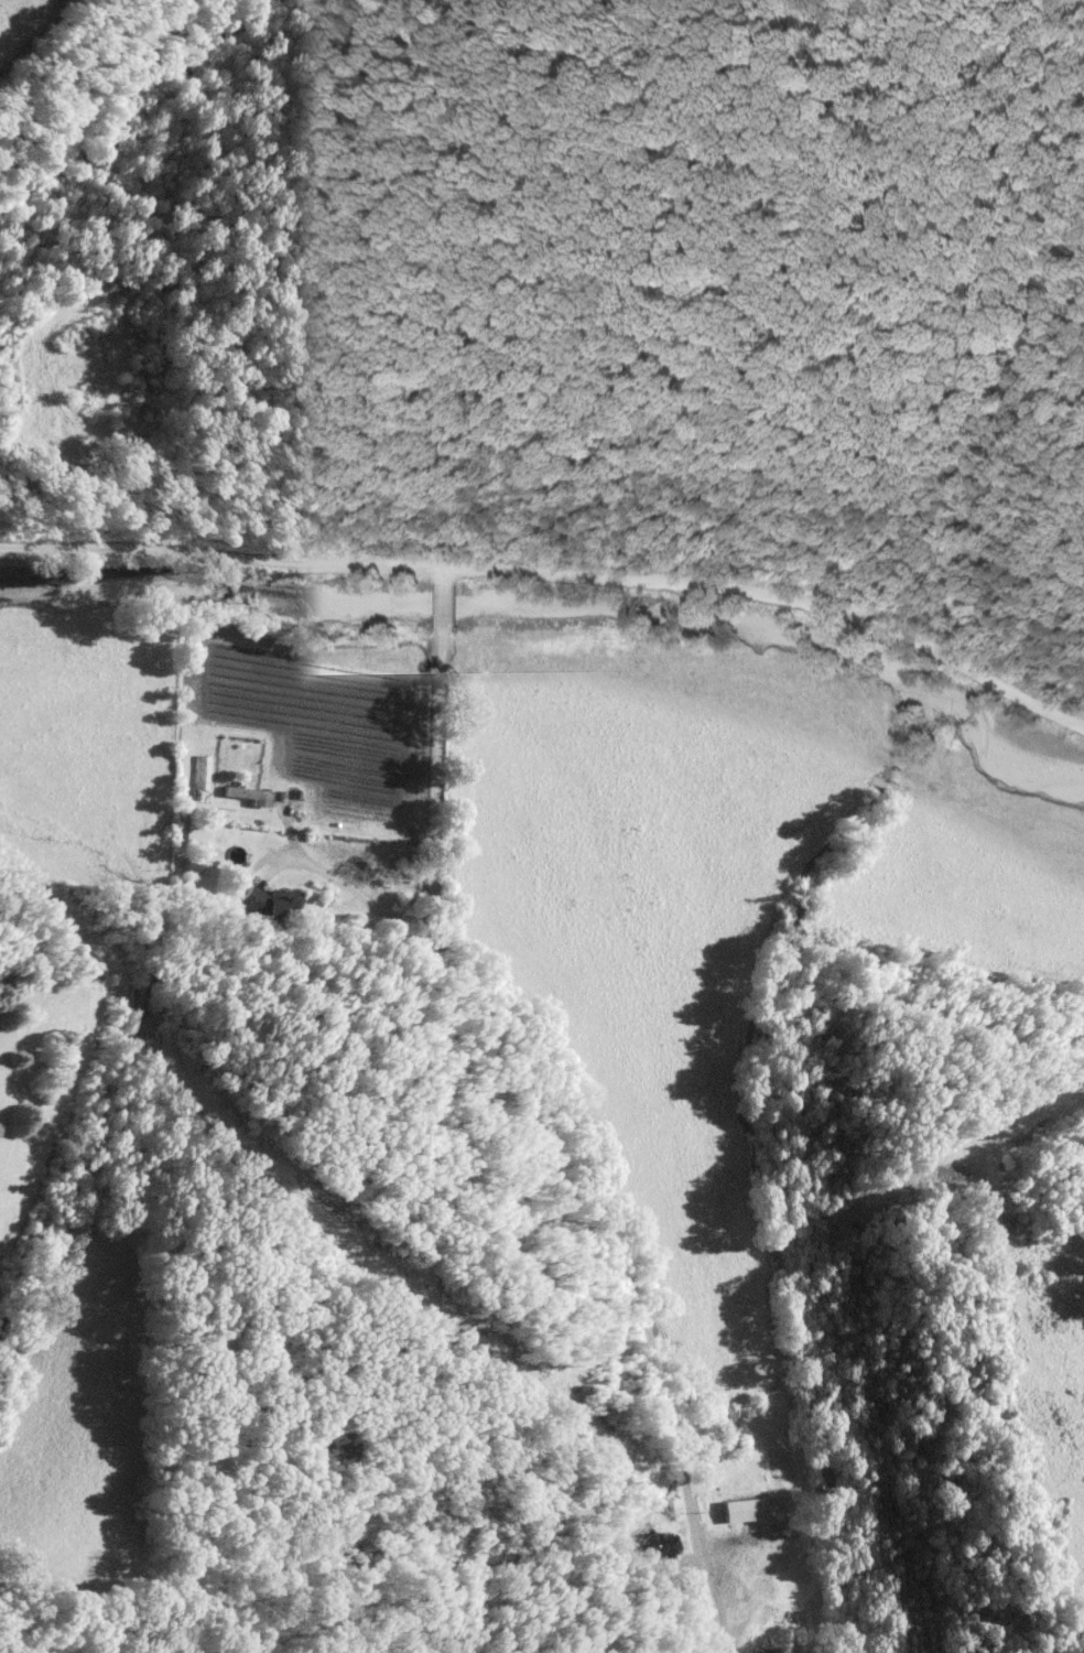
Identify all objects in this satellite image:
road: (444, 574)
road: (551, 574)
road: (444, 603)
building: (240, 796)
road: (347, 893)
building: (267, 904)
road: (567, 1125)
building: (720, 1429)
building: (737, 1511)
building: (654, 1544)
building: (752, 1642)

